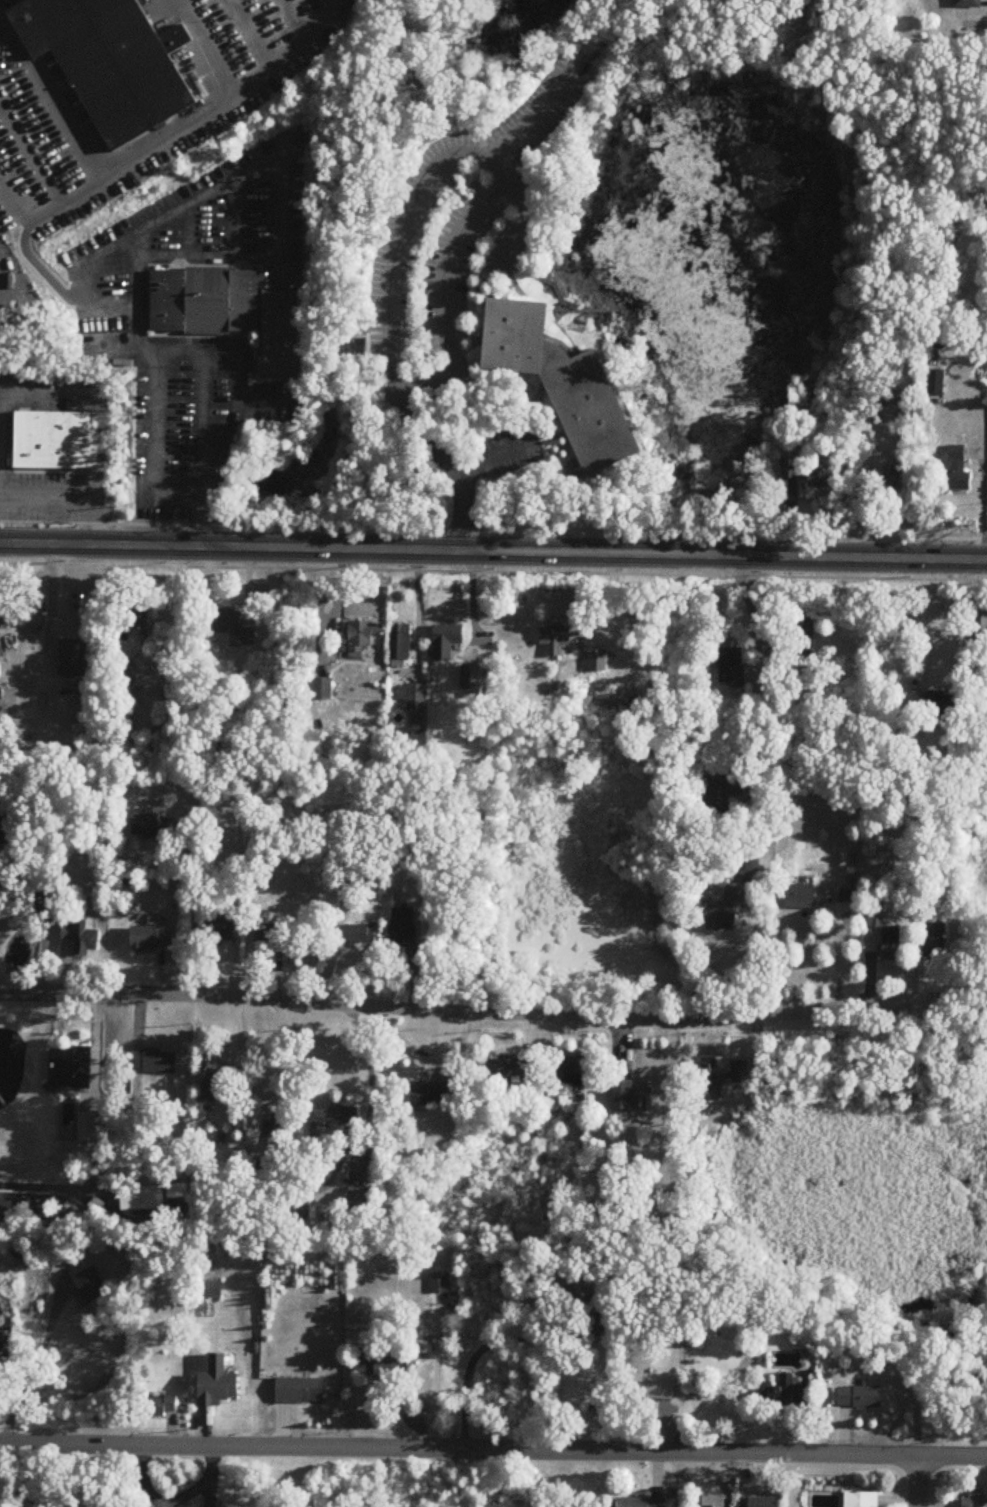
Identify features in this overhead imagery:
road: (0, 0)
building: (963, 4)
road: (202, 8)
road: (253, 27)
road: (289, 51)
building: (108, 59)
road: (2, 93)
road: (2, 98)
road: (49, 99)
road: (537, 116)
road: (34, 149)
road: (132, 159)
road: (243, 170)
road: (14, 199)
road: (231, 218)
road: (12, 222)
road: (187, 230)
road: (399, 235)
road: (141, 286)
road: (442, 298)
building: (230, 311)
building: (351, 348)
building: (565, 382)
building: (931, 382)
road: (267, 401)
road: (235, 402)
road: (104, 406)
road: (203, 409)
road: (156, 422)
road: (535, 427)
building: (54, 438)
road: (499, 458)
road: (16, 468)
road: (35, 468)
road: (76, 469)
road: (52, 471)
building: (797, 474)
building: (884, 474)
road: (841, 477)
road: (87, 484)
building: (949, 487)
road: (168, 499)
road: (983, 501)
road: (462, 513)
road: (92, 519)
road: (364, 527)
road: (493, 549)
road: (493, 571)
road: (471, 595)
road: (418, 603)
building: (4, 614)
building: (34, 616)
road: (176, 616)
building: (903, 616)
road: (943, 616)
building: (142, 617)
building: (976, 620)
building: (233, 626)
building: (799, 626)
building: (363, 639)
building: (557, 639)
building: (447, 642)
building: (401, 645)
road: (51, 652)
building: (74, 658)
building: (597, 664)
building: (725, 668)
building: (125, 671)
building: (323, 688)
building: (414, 697)
road: (765, 700)
building: (929, 704)
building: (717, 792)
building: (152, 826)
building: (793, 897)
building: (724, 908)
road: (191, 913)
building: (404, 927)
building: (219, 932)
building: (361, 934)
building: (271, 935)
building: (881, 935)
building: (80, 937)
building: (152, 939)
building: (930, 941)
road: (465, 1011)
building: (155, 1062)
building: (513, 1068)
building: (73, 1069)
road: (370, 1074)
building: (571, 1074)
building: (216, 1076)
building: (721, 1077)
building: (437, 1093)
building: (623, 1095)
building: (335, 1119)
building: (87, 1128)
road: (101, 1137)
building: (360, 1171)
building: (141, 1199)
building: (439, 1284)
building: (92, 1286)
building: (582, 1291)
road: (478, 1351)
building: (383, 1365)
road: (30, 1368)
building: (219, 1389)
building: (300, 1391)
building: (784, 1393)
building: (863, 1397)
building: (161, 1406)
road: (493, 1452)
road: (917, 1480)
building: (861, 1499)
building: (714, 1501)
building: (763, 1502)
building: (643, 1503)
building: (976, 1503)

